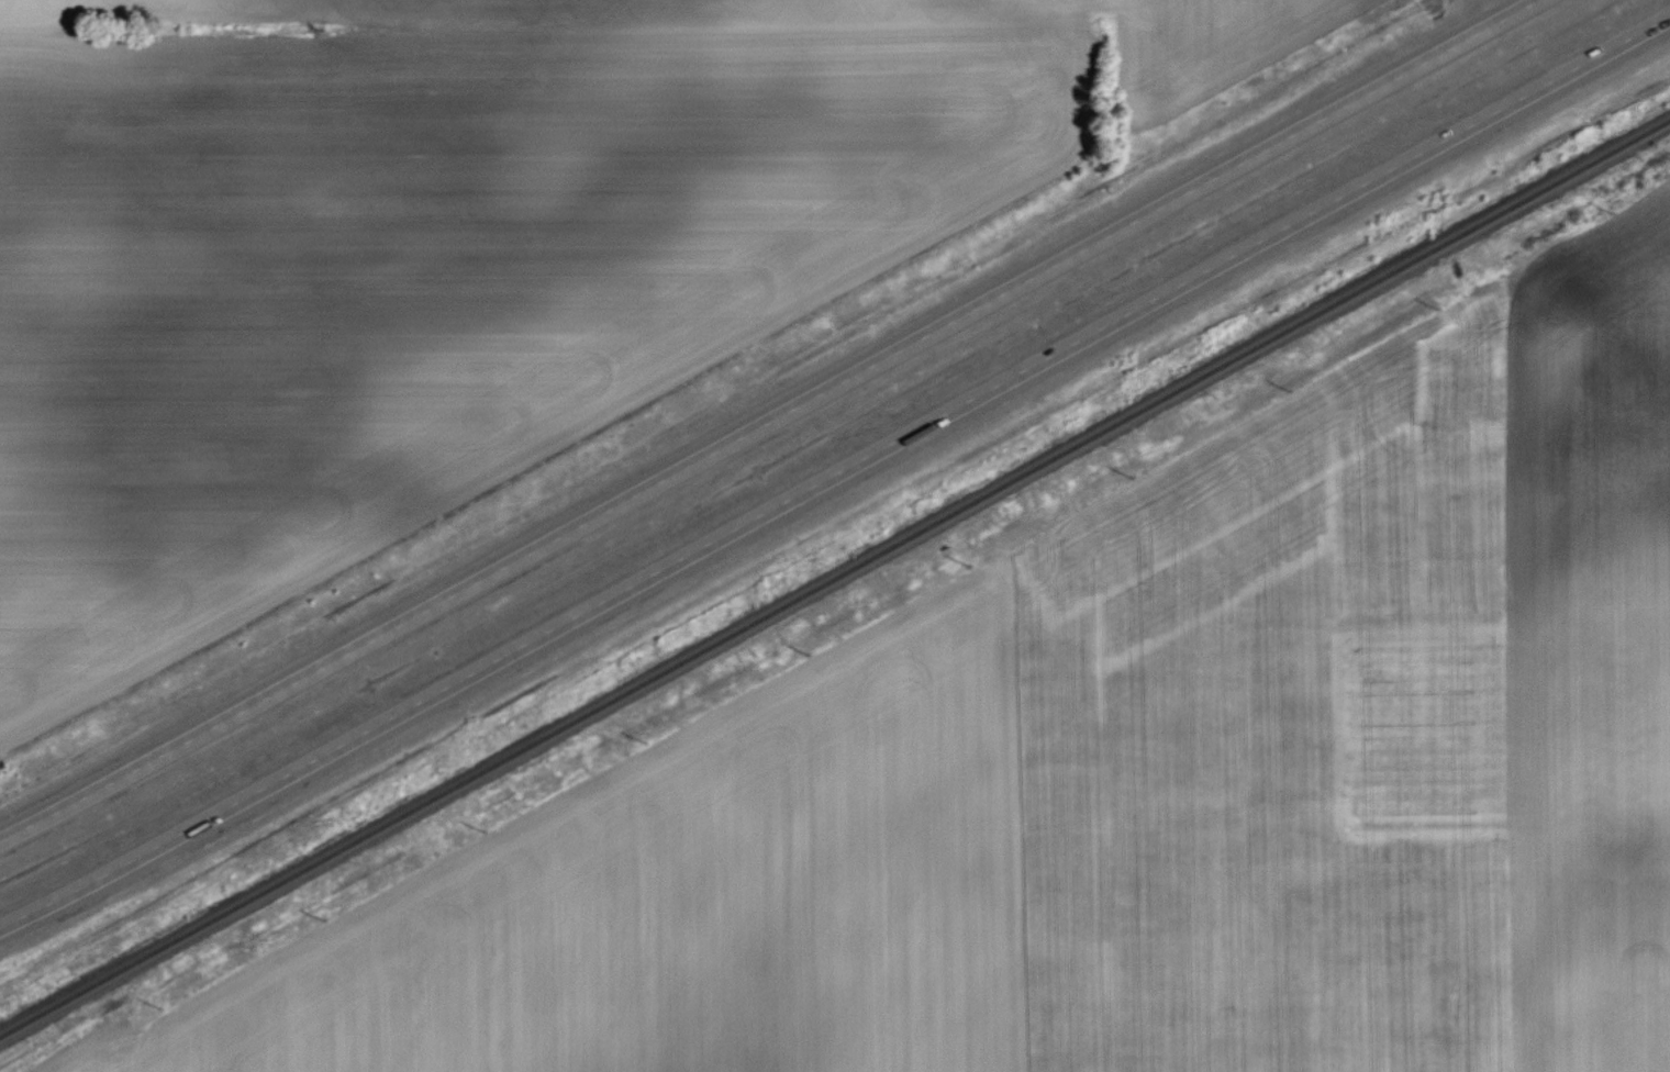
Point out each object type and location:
road: (771, 422)
road: (835, 477)
railway: (834, 579)

